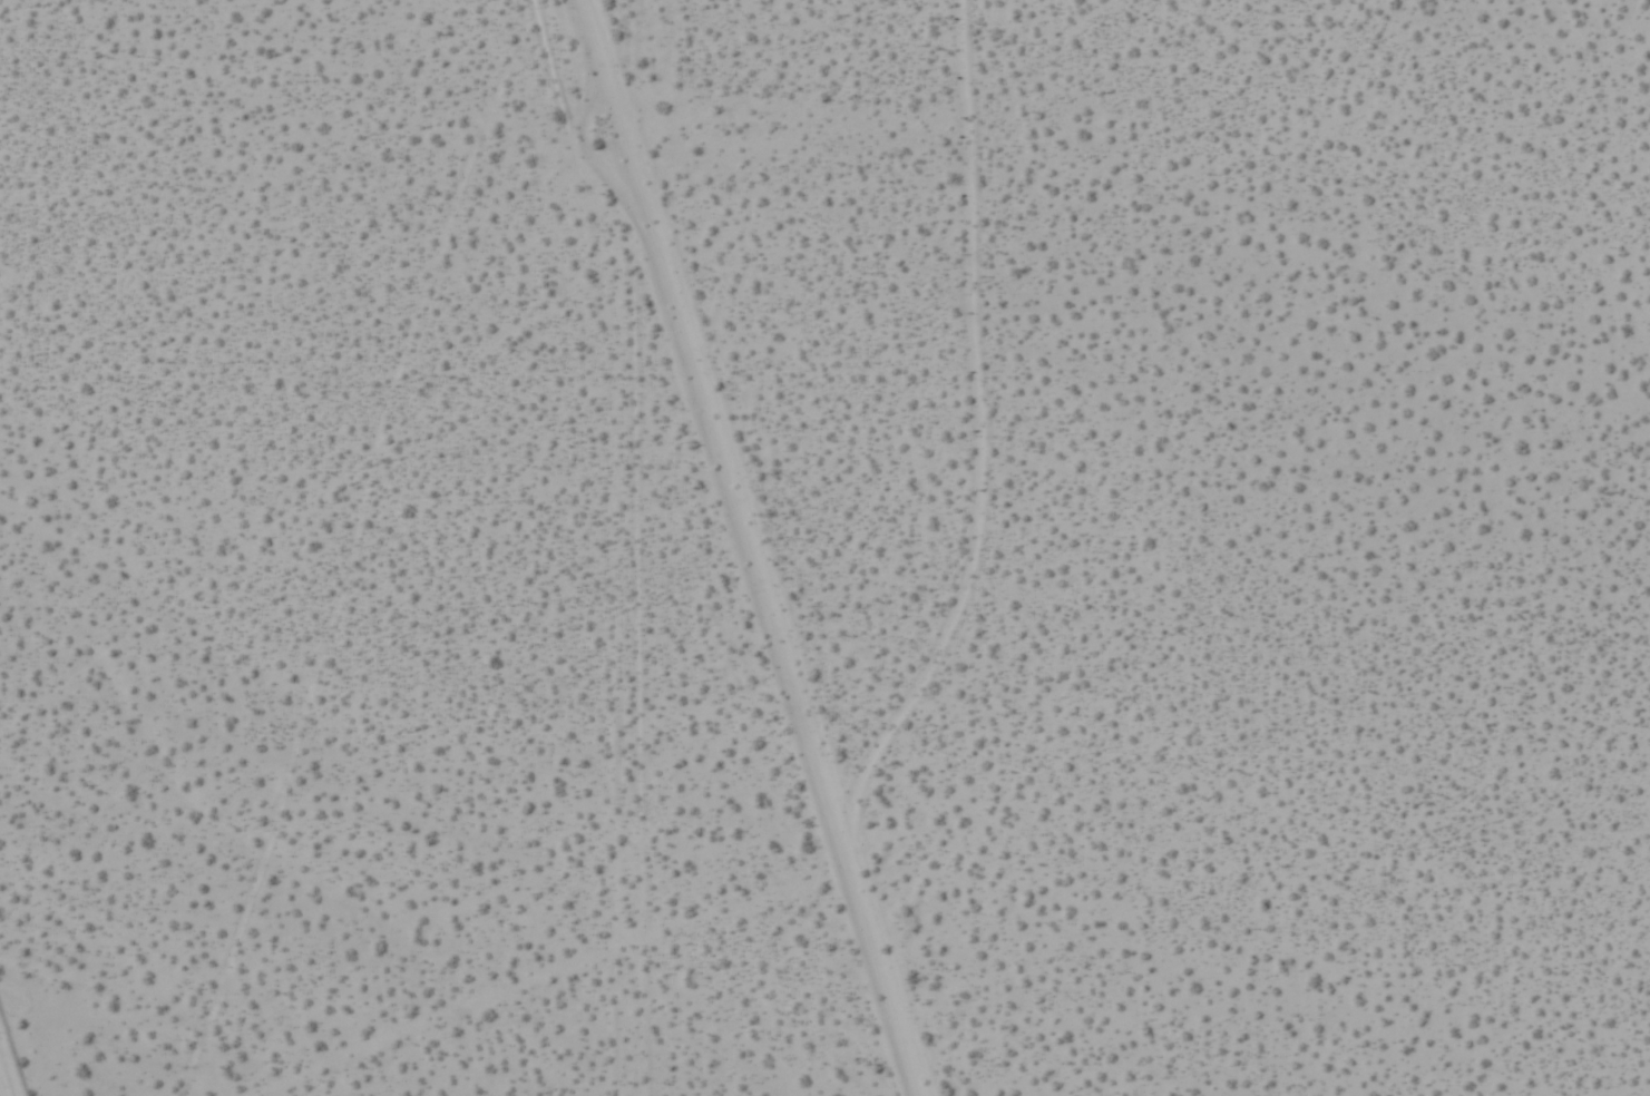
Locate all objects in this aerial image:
road: (753, 548)

